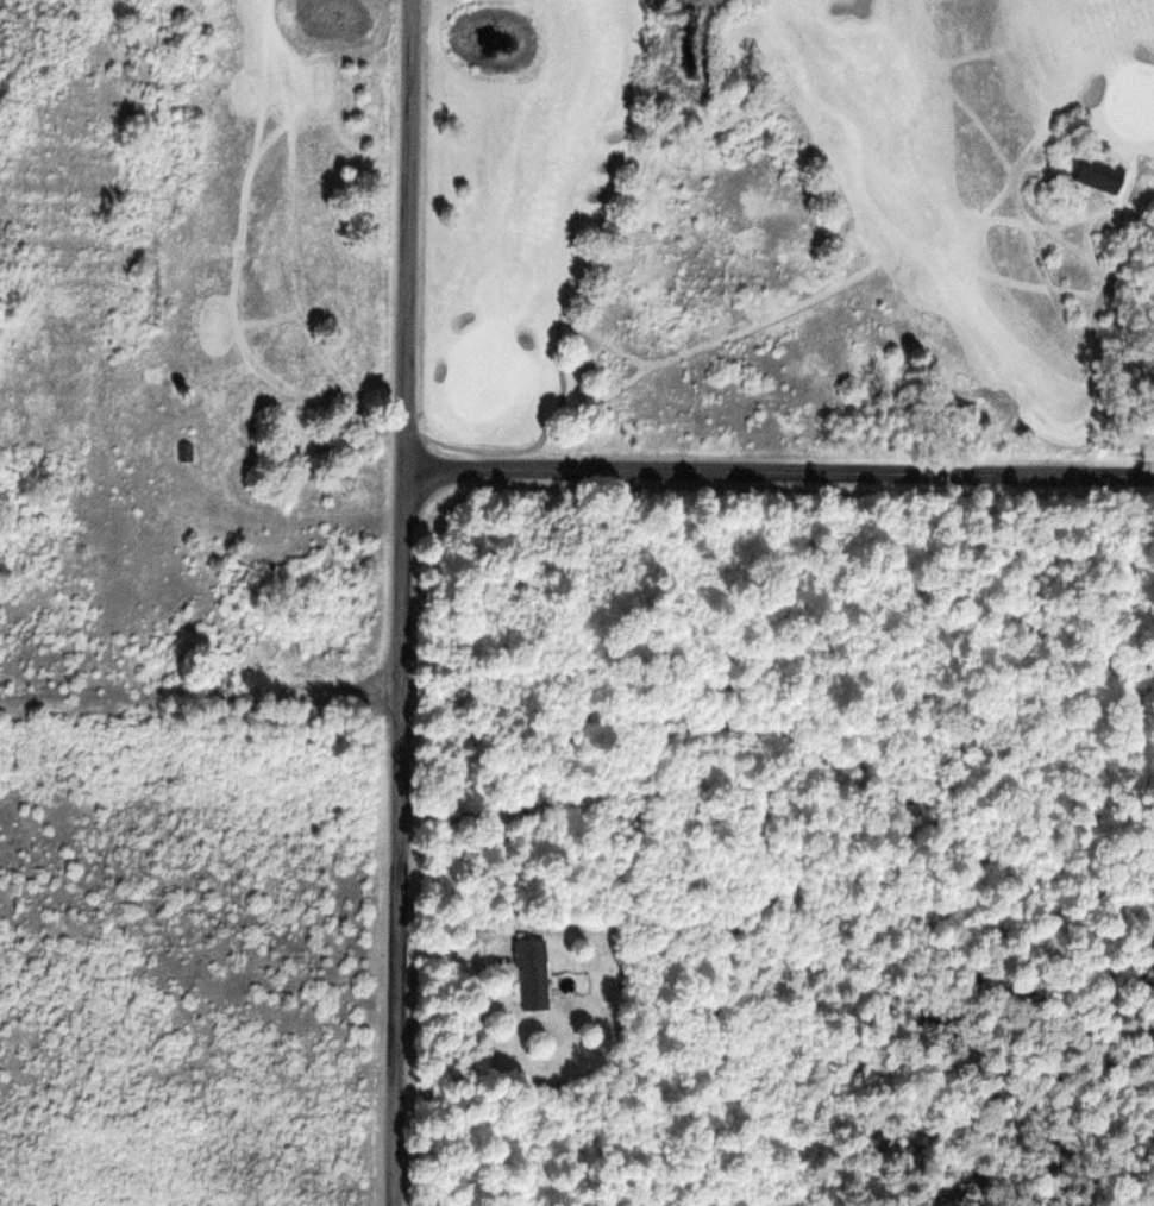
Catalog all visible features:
building: (1102, 175)
park: (657, 230)
road: (287, 265)
building: (186, 390)
silo: (186, 390)
road: (343, 398)
building: (186, 450)
road: (779, 470)
road: (402, 602)
building: (532, 973)

